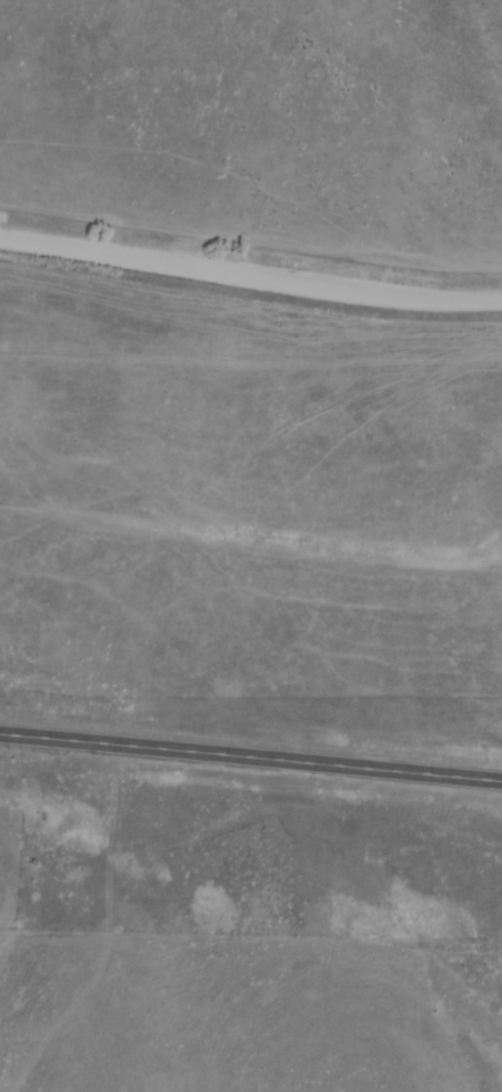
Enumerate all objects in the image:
road: (250, 279)
road: (251, 758)

